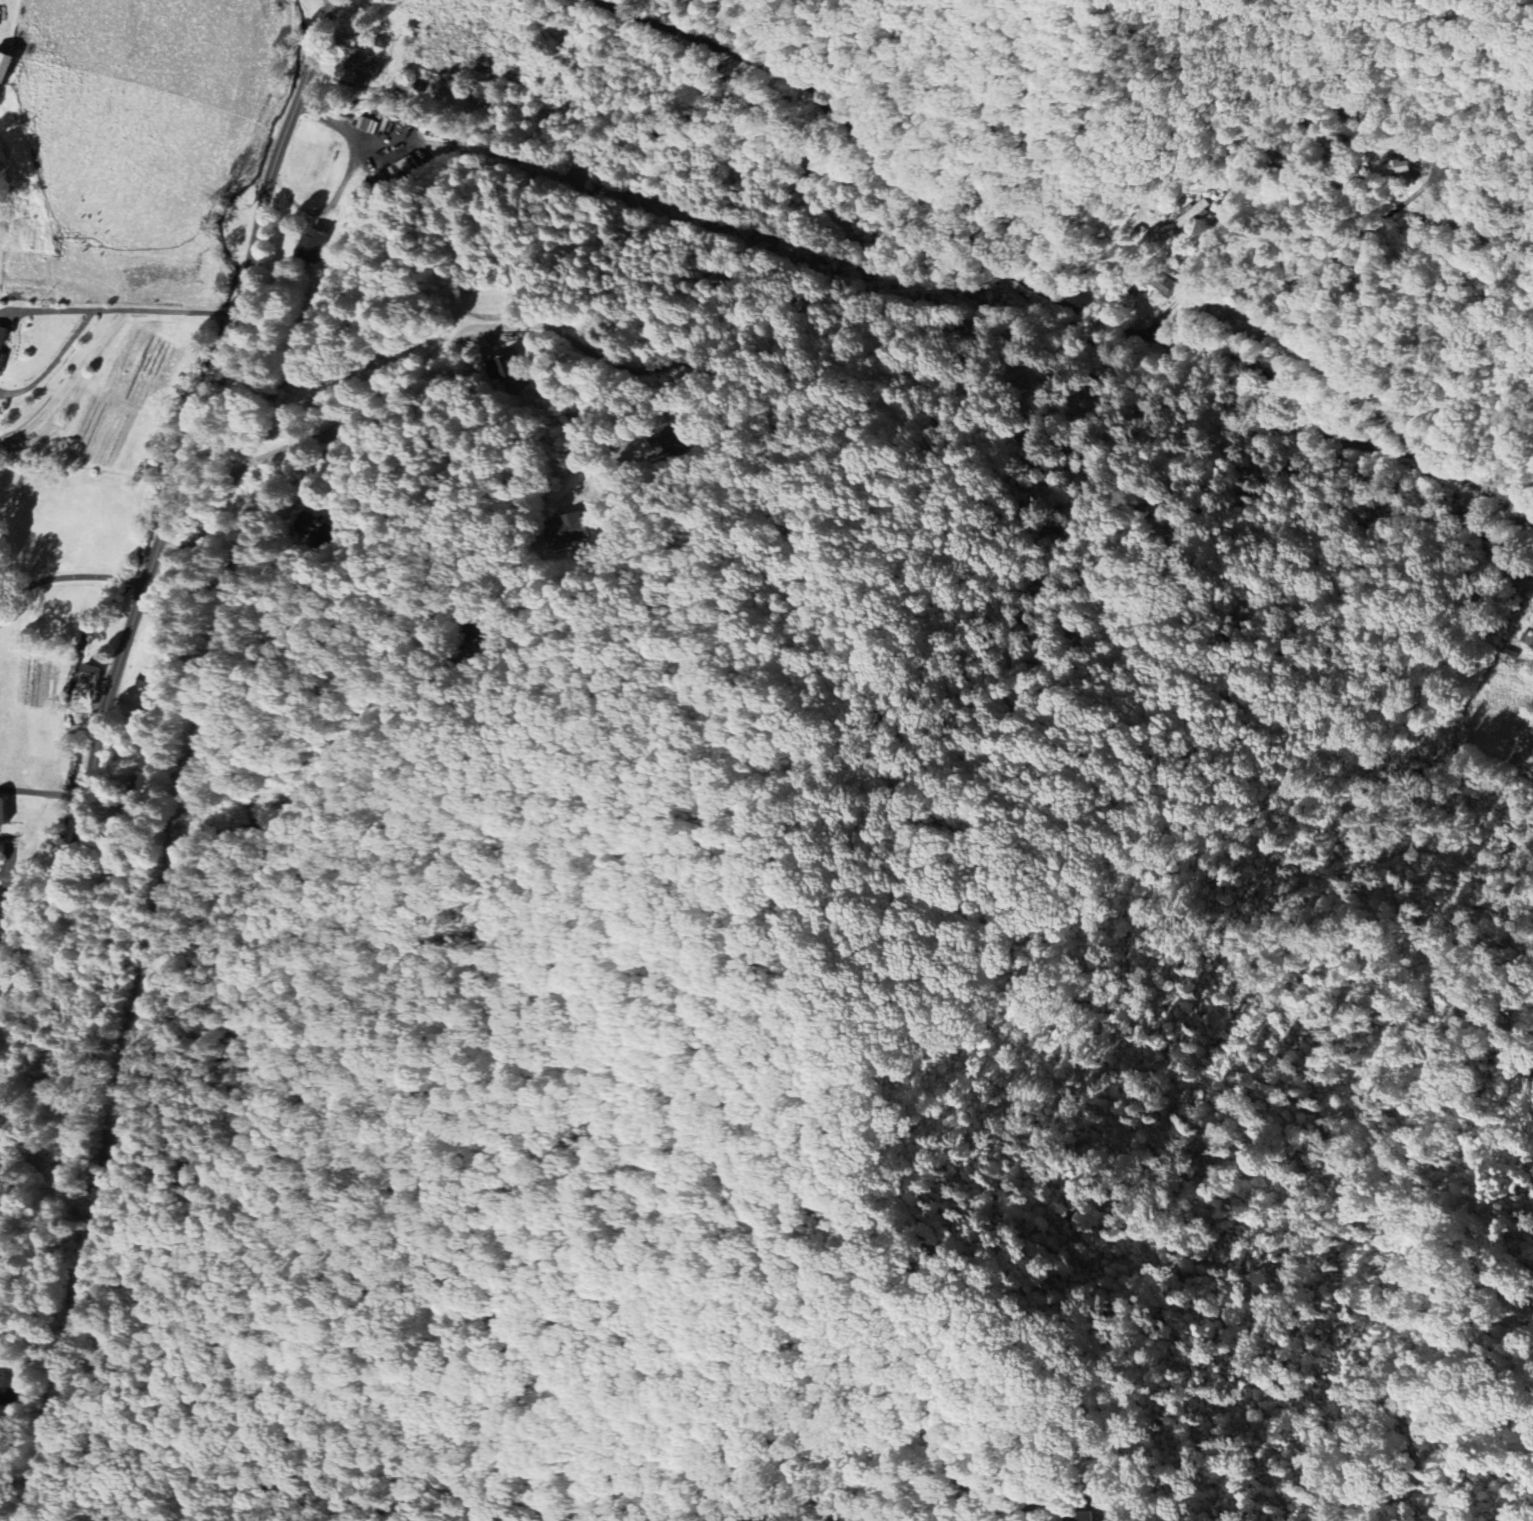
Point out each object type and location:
building: (9, 66)
building: (360, 68)
building: (479, 94)
building: (418, 158)
building: (403, 168)
building: (1401, 169)
building: (1194, 213)
building: (311, 246)
road: (1328, 264)
road: (1189, 272)
road: (1053, 295)
road: (46, 309)
road: (165, 310)
road: (466, 328)
building: (4, 348)
road: (53, 360)
building: (501, 368)
building: (668, 441)
road: (186, 469)
building: (94, 678)
building: (6, 812)
road: (23, 973)
building: (6, 1389)

